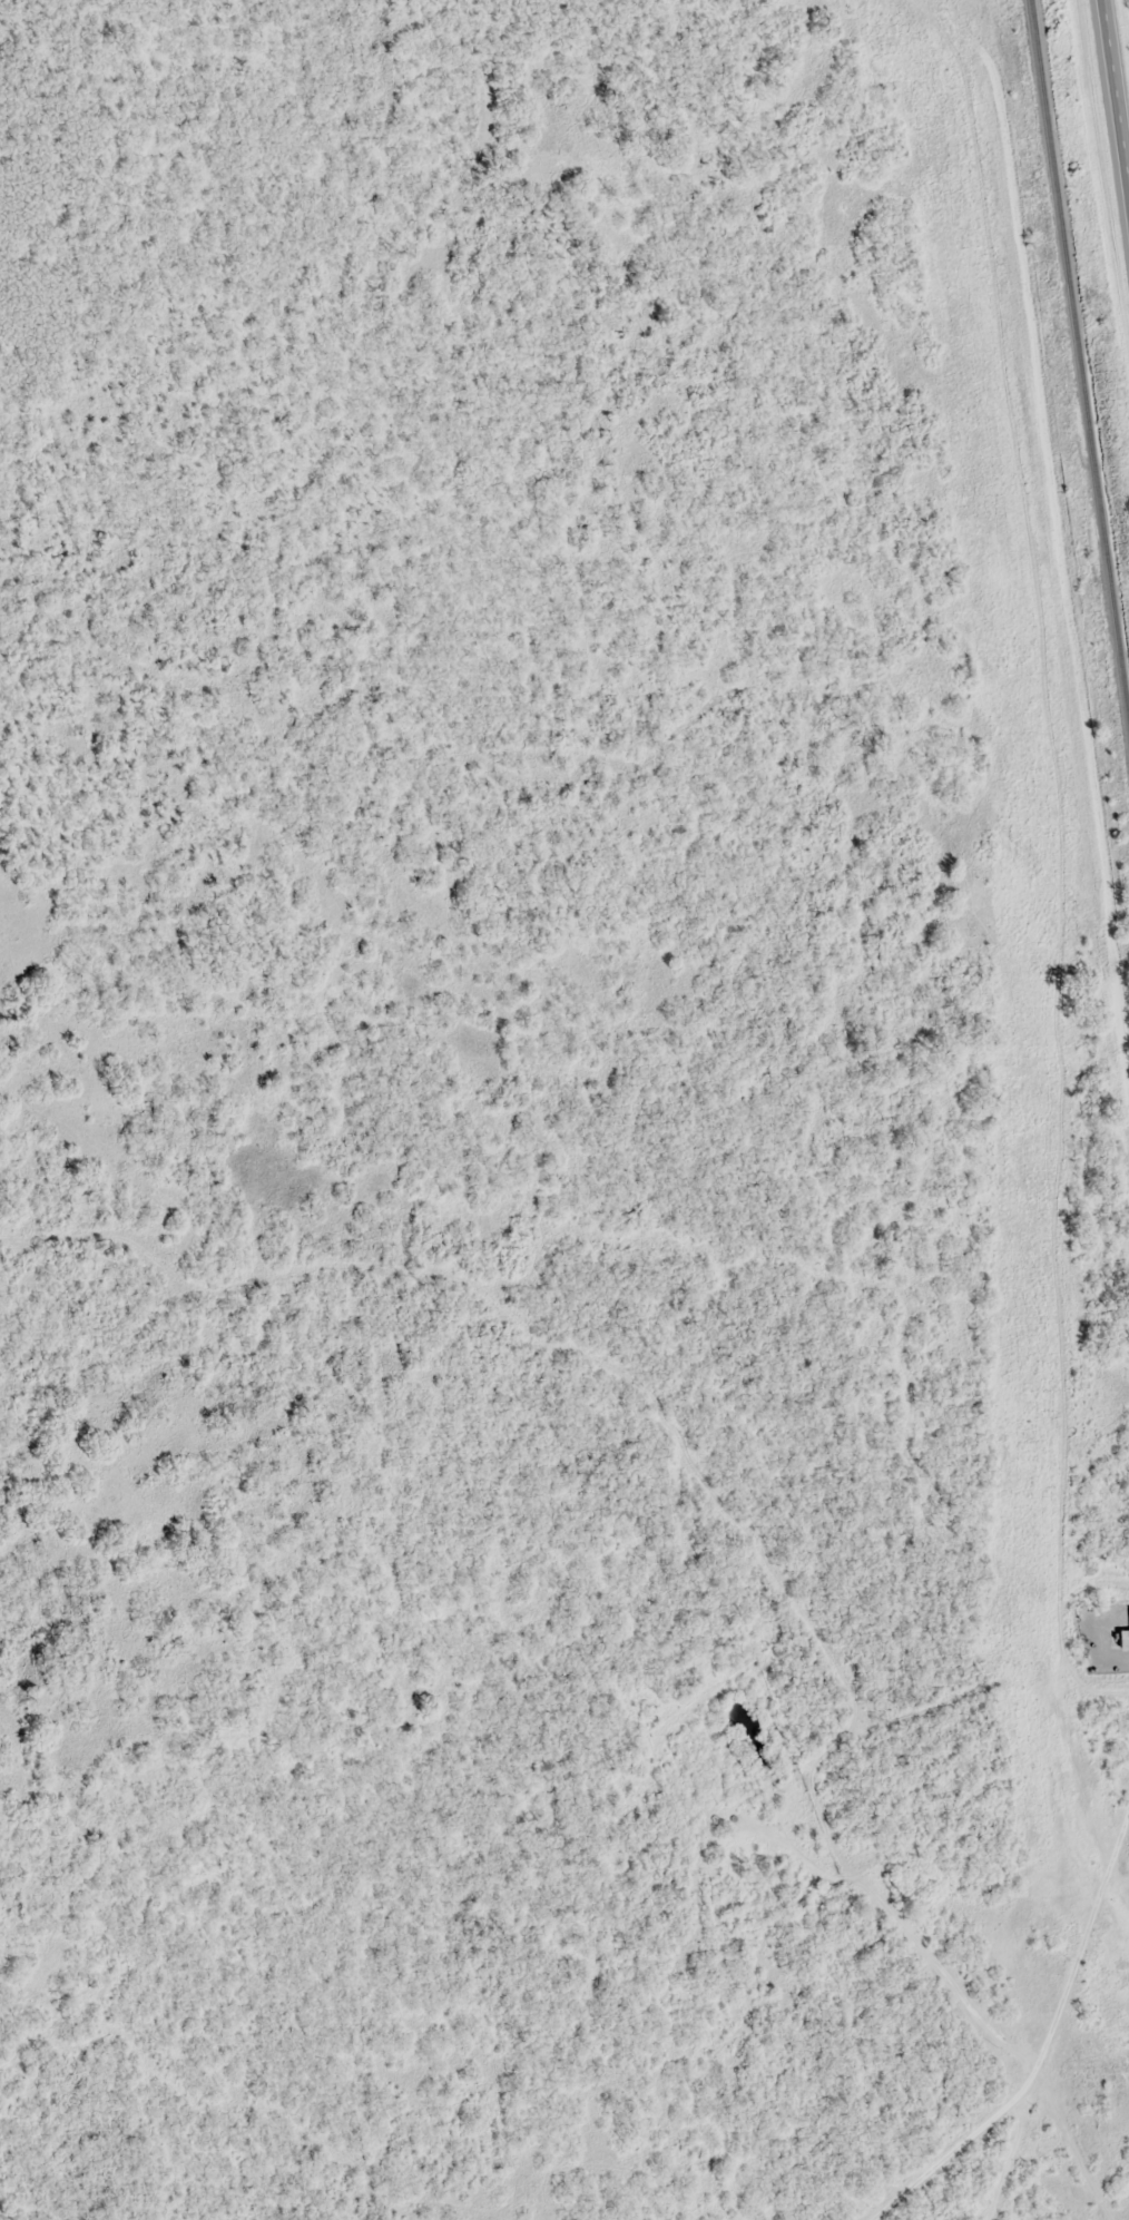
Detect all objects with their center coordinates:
road: (1116, 94)
railway: (1078, 373)
building: (1123, 1641)
road: (1043, 2050)

